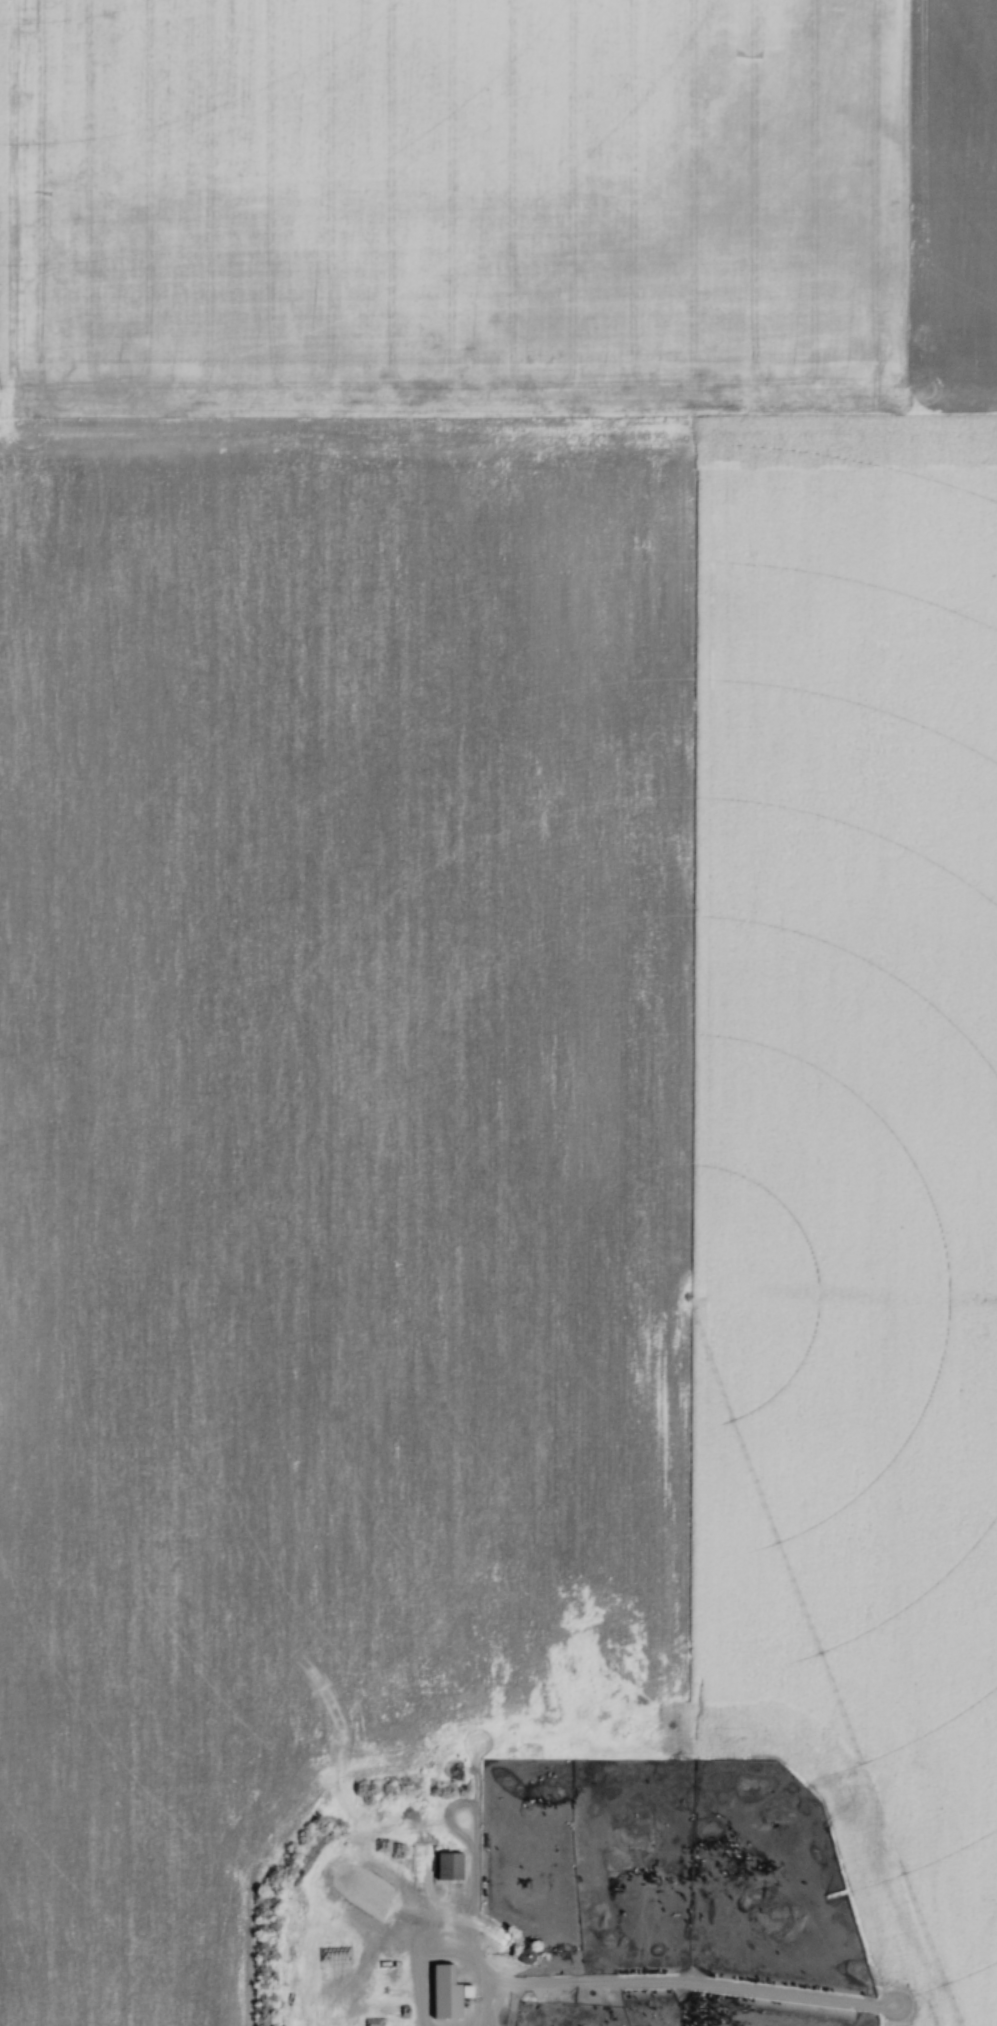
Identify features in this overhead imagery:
building: (451, 1867)
building: (504, 1937)
building: (391, 1950)
building: (527, 1957)
building: (392, 1968)
building: (394, 1994)
building: (469, 2001)
building: (398, 2012)

